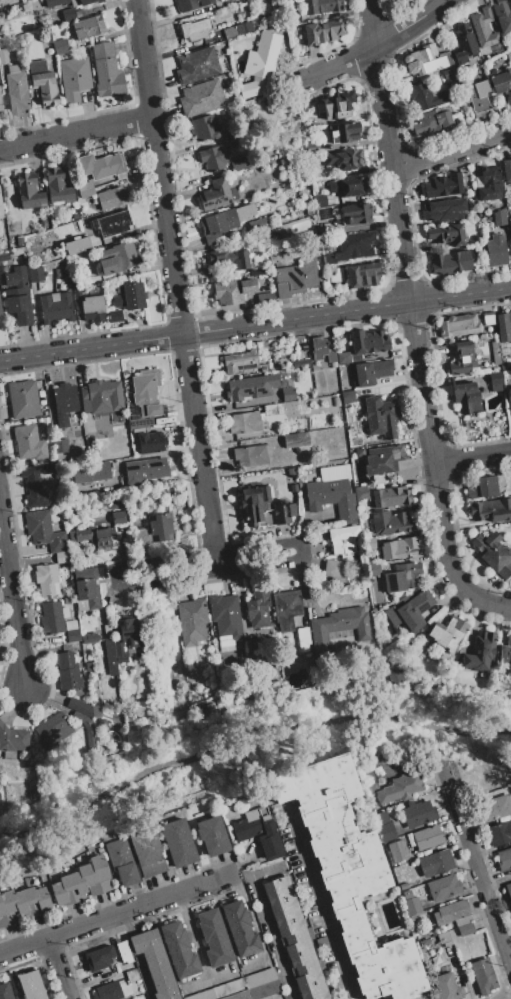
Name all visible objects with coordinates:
building: (34, 3)
building: (3, 4)
building: (52, 4)
building: (192, 4)
building: (321, 6)
building: (502, 14)
building: (295, 17)
building: (55, 18)
building: (1, 24)
building: (89, 26)
building: (483, 28)
building: (196, 29)
building: (238, 29)
building: (323, 31)
building: (464, 43)
road: (379, 44)
building: (60, 46)
building: (509, 54)
building: (3, 56)
building: (426, 60)
building: (260, 64)
building: (197, 66)
building: (106, 70)
building: (449, 73)
building: (73, 78)
building: (502, 81)
building: (43, 82)
building: (16, 90)
building: (421, 96)
building: (201, 98)
building: (478, 98)
building: (0, 104)
building: (335, 106)
building: (433, 123)
building: (205, 127)
road: (76, 132)
building: (345, 132)
building: (312, 147)
road: (451, 150)
building: (213, 158)
building: (345, 159)
building: (287, 161)
building: (238, 163)
building: (101, 165)
building: (507, 171)
building: (489, 184)
building: (57, 186)
building: (348, 186)
building: (443, 186)
building: (85, 189)
building: (28, 192)
building: (218, 194)
building: (111, 198)
building: (319, 200)
building: (1, 210)
building: (444, 210)
building: (323, 213)
building: (355, 214)
building: (75, 216)
building: (500, 217)
building: (111, 223)
building: (43, 224)
building: (258, 224)
building: (217, 225)
building: (509, 226)
building: (449, 234)
building: (20, 241)
building: (77, 245)
building: (355, 245)
building: (496, 250)
building: (18, 251)
building: (4, 255)
building: (229, 258)
building: (118, 259)
building: (450, 262)
building: (35, 274)
building: (363, 275)
building: (296, 278)
building: (79, 283)
road: (175, 283)
building: (233, 291)
building: (76, 294)
building: (17, 295)
building: (129, 296)
building: (266, 299)
building: (55, 307)
building: (92, 309)
building: (0, 311)
building: (114, 315)
building: (488, 318)
road: (412, 322)
road: (255, 324)
building: (458, 325)
building: (504, 327)
building: (367, 342)
building: (317, 348)
building: (330, 355)
building: (462, 358)
building: (301, 362)
building: (243, 363)
building: (369, 372)
building: (496, 381)
building: (250, 387)
building: (287, 394)
building: (508, 395)
building: (101, 396)
building: (144, 397)
building: (467, 397)
building: (41, 398)
building: (22, 400)
building: (63, 402)
building: (273, 409)
building: (380, 417)
building: (43, 421)
building: (245, 422)
building: (332, 422)
building: (76, 433)
building: (320, 436)
building: (150, 442)
building: (298, 442)
building: (28, 443)
building: (59, 446)
building: (251, 455)
building: (382, 459)
road: (472, 459)
building: (144, 470)
building: (47, 471)
building: (90, 472)
building: (291, 472)
building: (334, 472)
building: (32, 487)
building: (484, 487)
building: (294, 488)
building: (360, 492)
building: (388, 496)
building: (331, 498)
building: (263, 508)
building: (491, 510)
building: (118, 517)
building: (390, 522)
building: (160, 527)
building: (44, 531)
building: (140, 534)
building: (94, 536)
building: (342, 539)
road: (293, 541)
building: (370, 543)
building: (398, 548)
building: (493, 552)
building: (62, 557)
building: (373, 569)
building: (335, 570)
building: (401, 577)
building: (46, 579)
building: (86, 590)
road: (15, 595)
building: (66, 600)
building: (257, 609)
building: (286, 609)
building: (407, 611)
building: (52, 617)
building: (225, 620)
building: (192, 622)
building: (339, 626)
building: (129, 629)
building: (107, 630)
building: (71, 631)
building: (447, 633)
building: (89, 638)
building: (302, 638)
building: (253, 648)
building: (118, 649)
building: (480, 652)
building: (130, 653)
building: (506, 654)
building: (110, 656)
building: (312, 660)
building: (87, 668)
building: (69, 670)
building: (395, 676)
building: (236, 699)
building: (83, 708)
building: (202, 709)
building: (129, 713)
building: (48, 724)
building: (12, 741)
building: (367, 775)
building: (399, 788)
building: (35, 795)
building: (494, 808)
building: (418, 813)
building: (384, 826)
building: (243, 833)
building: (499, 833)
building: (212, 835)
building: (427, 837)
building: (409, 840)
building: (178, 842)
building: (98, 844)
building: (147, 851)
building: (397, 851)
building: (412, 856)
building: (504, 859)
building: (121, 861)
building: (435, 863)
road: (477, 867)
building: (348, 873)
building: (95, 875)
building: (403, 886)
building: (443, 887)
building: (67, 889)
building: (508, 891)
building: (32, 902)
building: (410, 903)
building: (6, 906)
road: (321, 906)
road: (115, 912)
building: (452, 913)
building: (240, 929)
building: (465, 930)
road: (272, 936)
building: (214, 938)
building: (294, 938)
building: (444, 938)
building: (424, 942)
building: (179, 949)
building: (123, 952)
building: (98, 958)
building: (155, 963)
road: (57, 967)
building: (131, 975)
building: (482, 976)
building: (30, 985)
building: (133, 986)
building: (447, 986)
building: (243, 987)
building: (5, 991)
building: (108, 991)

